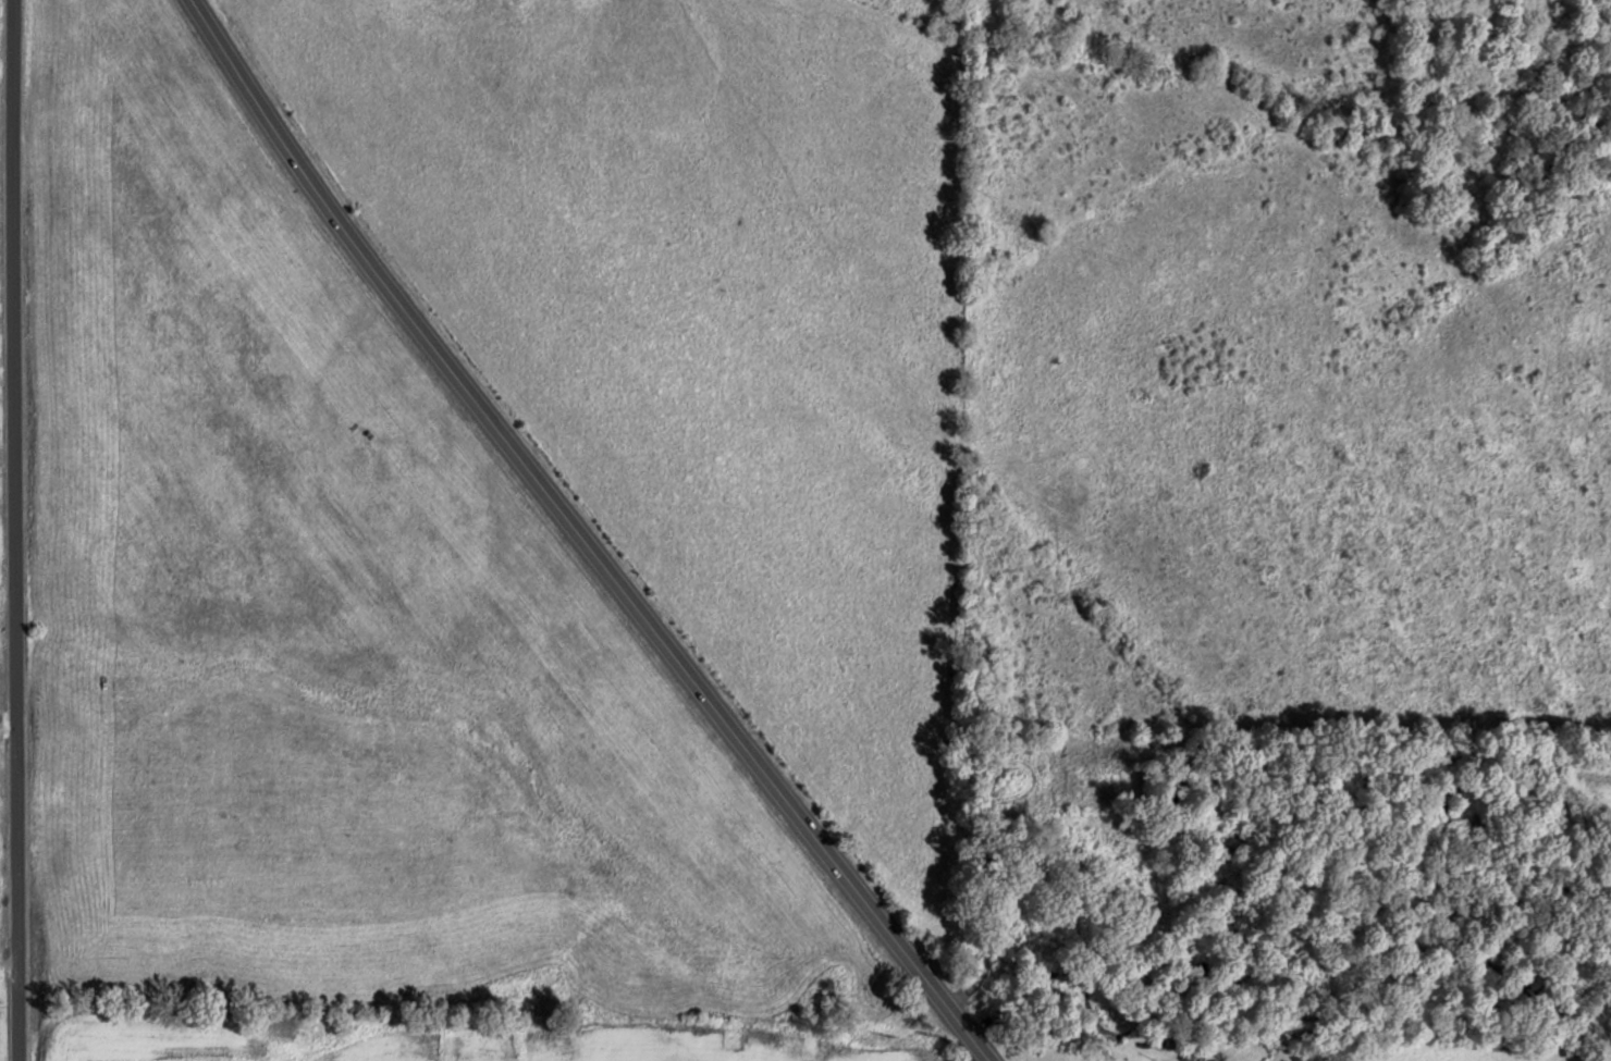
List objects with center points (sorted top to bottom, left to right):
road: (11, 530)
road: (583, 535)

